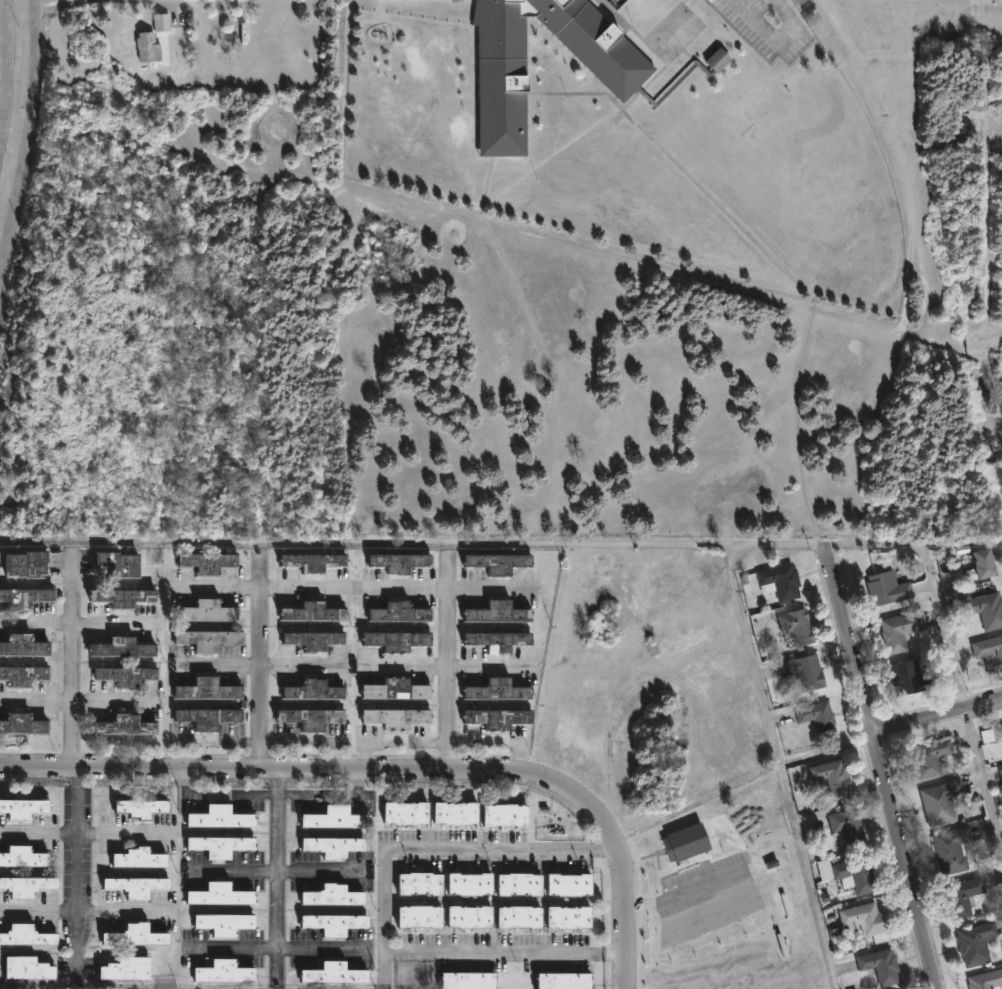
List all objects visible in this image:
road: (177, 3)
road: (60, 5)
building: (161, 23)
road: (770, 35)
building: (148, 47)
road: (4, 63)
building: (624, 77)
road: (27, 130)
road: (772, 259)
road: (541, 347)
park: (416, 374)
park: (447, 381)
road: (501, 544)
building: (207, 562)
building: (315, 562)
building: (498, 562)
building: (401, 563)
building: (987, 563)
building: (26, 564)
building: (119, 564)
building: (779, 584)
road: (353, 587)
building: (888, 589)
building: (122, 596)
building: (25, 597)
building: (986, 610)
building: (208, 611)
building: (399, 612)
building: (496, 612)
building: (314, 613)
road: (79, 622)
road: (943, 626)
building: (798, 627)
building: (902, 629)
building: (207, 640)
building: (314, 640)
building: (395, 640)
building: (496, 640)
building: (24, 645)
building: (121, 647)
building: (990, 653)
road: (71, 655)
road: (258, 655)
road: (445, 662)
road: (441, 664)
road: (268, 665)
building: (806, 673)
building: (124, 674)
building: (23, 675)
building: (912, 678)
building: (500, 687)
building: (208, 688)
building: (313, 689)
building: (395, 689)
road: (74, 700)
road: (936, 714)
building: (207, 717)
building: (309, 717)
building: (394, 717)
building: (499, 717)
building: (819, 717)
building: (24, 726)
building: (123, 726)
building: (998, 732)
building: (931, 757)
road: (880, 767)
road: (397, 768)
road: (781, 768)
building: (1001, 770)
building: (836, 776)
road: (276, 777)
road: (984, 777)
building: (942, 802)
building: (142, 806)
building: (24, 807)
building: (405, 811)
building: (456, 813)
building: (507, 813)
building: (222, 815)
building: (337, 817)
building: (850, 829)
road: (85, 833)
building: (685, 843)
building: (221, 844)
building: (334, 844)
building: (953, 849)
building: (23, 856)
building: (139, 856)
road: (274, 868)
road: (76, 871)
building: (852, 873)
road: (274, 882)
building: (418, 883)
building: (469, 883)
building: (568, 883)
building: (138, 884)
building: (517, 884)
building: (27, 885)
building: (219, 894)
building: (334, 894)
road: (683, 895)
building: (964, 895)
road: (381, 902)
road: (84, 910)
building: (419, 916)
building: (518, 916)
building: (567, 916)
building: (468, 917)
building: (868, 918)
building: (224, 922)
building: (335, 922)
building: (28, 934)
building: (136, 936)
building: (977, 942)
road: (278, 946)
building: (882, 966)
building: (28, 967)
building: (127, 968)
building: (225, 971)
building: (335, 972)
building: (466, 980)
building: (562, 980)
building: (986, 980)

